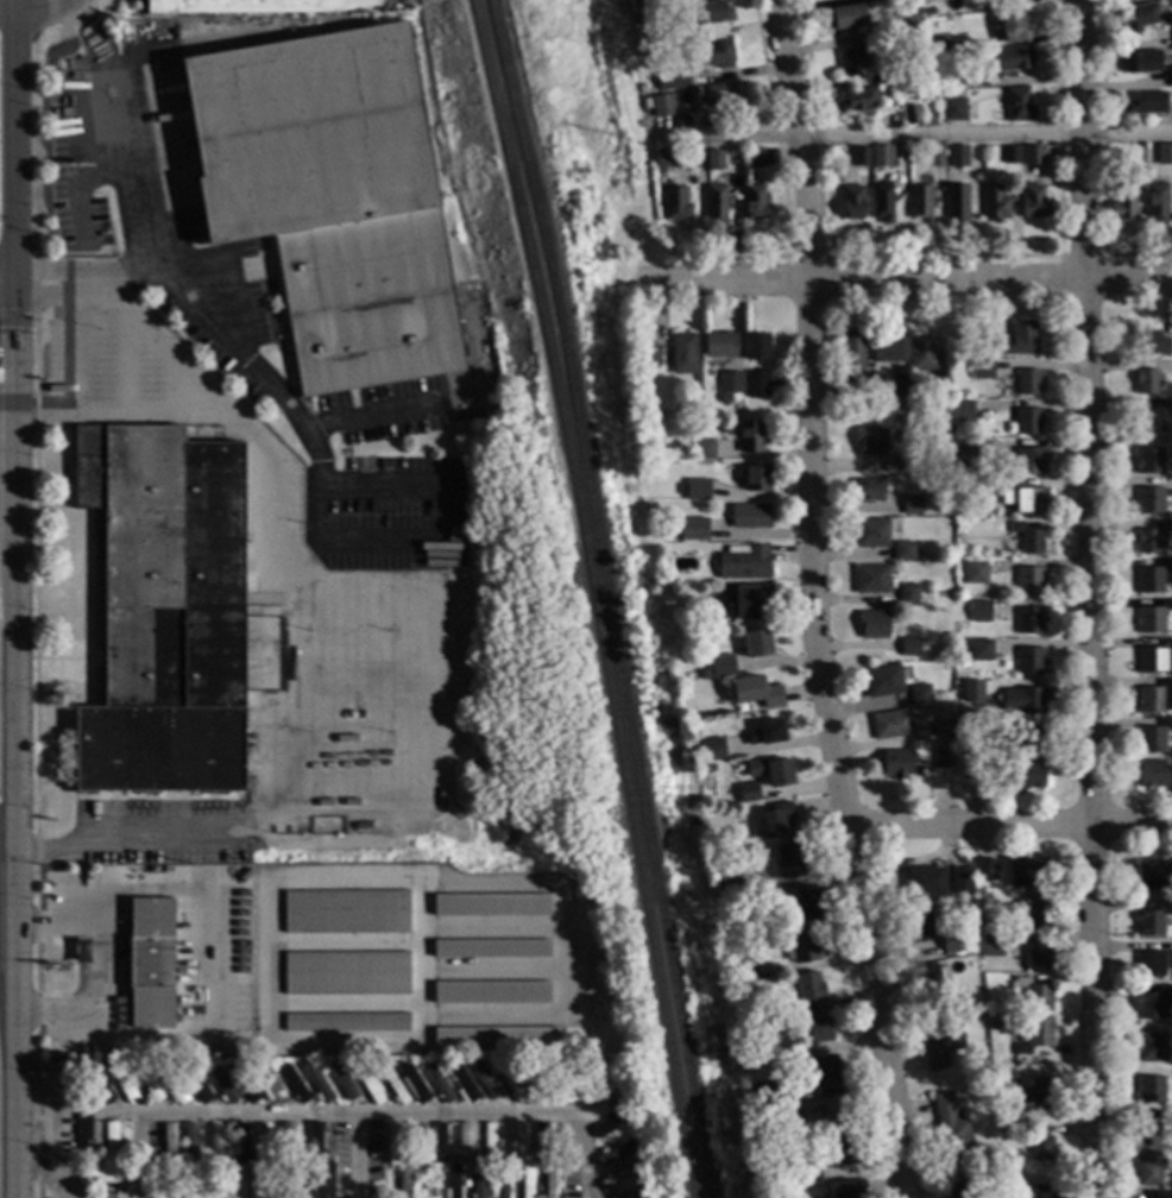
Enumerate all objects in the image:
building: (262, 6)
building: (909, 6)
building: (930, 11)
road: (38, 12)
building: (712, 13)
building: (1140, 17)
road: (74, 18)
building: (846, 18)
building: (642, 20)
building: (909, 21)
building: (1013, 26)
road: (88, 32)
building: (960, 36)
building: (944, 44)
building: (714, 55)
building: (1013, 58)
building: (855, 59)
building: (1142, 62)
building: (1171, 77)
building: (673, 80)
building: (976, 80)
building: (931, 89)
building: (643, 90)
building: (726, 95)
building: (949, 96)
building: (858, 100)
building: (1148, 102)
building: (663, 106)
building: (1020, 106)
building: (954, 109)
building: (910, 113)
building: (714, 116)
building: (650, 120)
road: (910, 134)
road: (796, 139)
road: (126, 146)
building: (755, 155)
building: (1010, 155)
building: (1033, 155)
building: (1165, 155)
building: (861, 156)
building: (882, 156)
building: (934, 156)
building: (958, 156)
building: (666, 158)
building: (714, 160)
building: (750, 163)
building: (1141, 177)
building: (332, 198)
building: (1034, 201)
building: (756, 202)
building: (921, 202)
building: (1124, 202)
building: (675, 203)
building: (716, 203)
building: (852, 203)
building: (882, 203)
building: (958, 203)
building: (1158, 203)
building: (996, 204)
road: (990, 279)
road: (727, 280)
road: (7, 291)
traffic signals: (15, 292)
road: (15, 311)
road: (218, 327)
building: (1020, 339)
road: (164, 341)
building: (1152, 343)
building: (720, 345)
building: (990, 345)
building: (757, 346)
building: (887, 351)
building: (683, 354)
building: (922, 354)
building: (649, 357)
building: (662, 358)
building: (855, 365)
parking lot: (119, 371)
building: (983, 371)
building: (730, 382)
building: (1028, 382)
building: (1147, 382)
building: (900, 384)
building: (757, 385)
building: (938, 390)
building: (965, 393)
building: (724, 399)
building: (1171, 408)
building: (960, 411)
building: (895, 415)
building: (1027, 421)
building: (1148, 421)
building: (723, 427)
building: (949, 430)
building: (958, 430)
building: (750, 436)
building: (870, 442)
building: (702, 449)
building: (959, 449)
building: (978, 449)
building: (1148, 460)
building: (1031, 461)
building: (907, 462)
building: (756, 477)
building: (956, 481)
building: (697, 490)
building: (868, 490)
building: (969, 491)
building: (1026, 500)
building: (1148, 500)
building: (912, 504)
building: (995, 516)
building: (750, 517)
building: (692, 529)
building: (870, 532)
building: (662, 535)
building: (1027, 538)
building: (1152, 538)
building: (902, 551)
building: (1171, 551)
building: (743, 563)
building: (975, 574)
building: (1154, 578)
building: (870, 580)
building: (1028, 581)
building: (650, 582)
building: (907, 595)
railway: (592, 597)
railway: (604, 597)
road: (1088, 598)
road: (14, 599)
building: (744, 601)
building: (164, 611)
building: (979, 612)
building: (1152, 618)
building: (1029, 620)
building: (871, 624)
road: (294, 633)
building: (756, 644)
building: (909, 648)
building: (979, 650)
building: (1153, 657)
building: (1029, 661)
building: (722, 667)
building: (959, 669)
building: (704, 675)
building: (882, 681)
building: (971, 689)
building: (755, 692)
building: (919, 695)
building: (1155, 698)
building: (1022, 700)
building: (890, 724)
building: (940, 729)
building: (983, 731)
building: (767, 732)
building: (1152, 738)
building: (1029, 740)
road: (828, 742)
building: (949, 743)
building: (711, 750)
building: (943, 759)
building: (896, 764)
building: (770, 771)
building: (1153, 774)
building: (1023, 776)
building: (748, 793)
building: (776, 820)
road: (1009, 824)
road: (7, 843)
building: (787, 860)
building: (985, 870)
building: (316, 872)
building: (1025, 872)
building: (1152, 876)
building: (960, 881)
building: (924, 883)
building: (727, 884)
building: (978, 896)
building: (491, 904)
building: (802, 904)
building: (1171, 906)
building: (345, 912)
building: (1035, 912)
road: (36, 919)
building: (1148, 923)
building: (726, 926)
building: (919, 926)
building: (954, 940)
building: (991, 945)
building: (800, 947)
building: (491, 950)
road: (567, 952)
building: (1036, 957)
road: (221, 963)
building: (150, 964)
building: (1153, 964)
building: (741, 970)
building: (346, 973)
building: (927, 978)
building: (808, 989)
building: (491, 994)
building: (1034, 995)
building: (1153, 1004)
building: (745, 1008)
building: (979, 1010)
road: (38, 1014)
building: (346, 1022)
building: (818, 1028)
building: (1034, 1035)
building: (494, 1036)
building: (939, 1045)
building: (1153, 1048)
building: (757, 1052)
building: (979, 1060)
building: (993, 1064)
building: (1001, 1064)
building: (493, 1065)
building: (442, 1066)
building: (370, 1067)
building: (420, 1067)
building: (516, 1068)
building: (825, 1072)
building: (179, 1073)
building: (1004, 1079)
building: (146, 1083)
building: (342, 1083)
building: (557, 1083)
building: (244, 1084)
building: (294, 1084)
building: (316, 1084)
building: (366, 1084)
building: (437, 1084)
building: (462, 1084)
building: (486, 1084)
building: (509, 1084)
building: (581, 1084)
building: (605, 1084)
building: (985, 1084)
building: (122, 1085)
building: (221, 1085)
building: (267, 1085)
building: (391, 1085)
building: (412, 1085)
building: (537, 1085)
building: (99, 1086)
building: (172, 1086)
building: (196, 1086)
building: (90, 1089)
building: (619, 1089)
building: (1149, 1089)
building: (764, 1093)
building: (1038, 1095)
building: (788, 1109)
building: (610, 1115)
building: (823, 1116)
road: (347, 1117)
building: (1003, 1118)
building: (611, 1124)
building: (1151, 1127)
building: (1001, 1128)
building: (951, 1130)
building: (623, 1133)
building: (88, 1136)
building: (314, 1139)
building: (465, 1141)
building: (489, 1141)
building: (540, 1141)
building: (109, 1142)
building: (289, 1142)
building: (516, 1142)
building: (169, 1143)
building: (189, 1143)
building: (239, 1143)
building: (263, 1143)
building: (391, 1143)
building: (439, 1143)
building: (416, 1145)
building: (1040, 1145)
building: (215, 1146)
building: (475, 1153)
building: (842, 1153)
building: (297, 1154)
building: (616, 1154)
building: (200, 1155)
road: (587, 1156)
road: (140, 1158)
building: (178, 1158)
road: (361, 1158)
building: (449, 1158)
building: (498, 1159)
building: (524, 1159)
building: (95, 1160)
building: (225, 1160)
building: (629, 1161)
building: (1151, 1168)
building: (170, 1171)
building: (442, 1171)
building: (292, 1172)
building: (194, 1173)
building: (218, 1173)
building: (806, 1173)
road: (46, 1174)
building: (106, 1174)
building: (396, 1174)
building: (619, 1177)
building: (321, 1180)
building: (548, 1181)
building: (182, 1183)
building: (253, 1183)
building: (404, 1183)
building: (452, 1183)
building: (478, 1183)
building: (500, 1183)
building: (527, 1183)
building: (203, 1184)
building: (228, 1184)
building: (275, 1184)
building: (298, 1184)
building: (429, 1184)
building: (518, 1185)
building: (968, 1186)
building: (846, 1190)
building: (1039, 1192)
building: (635, 1194)
building: (105, 1196)
building: (1160, 1196)

